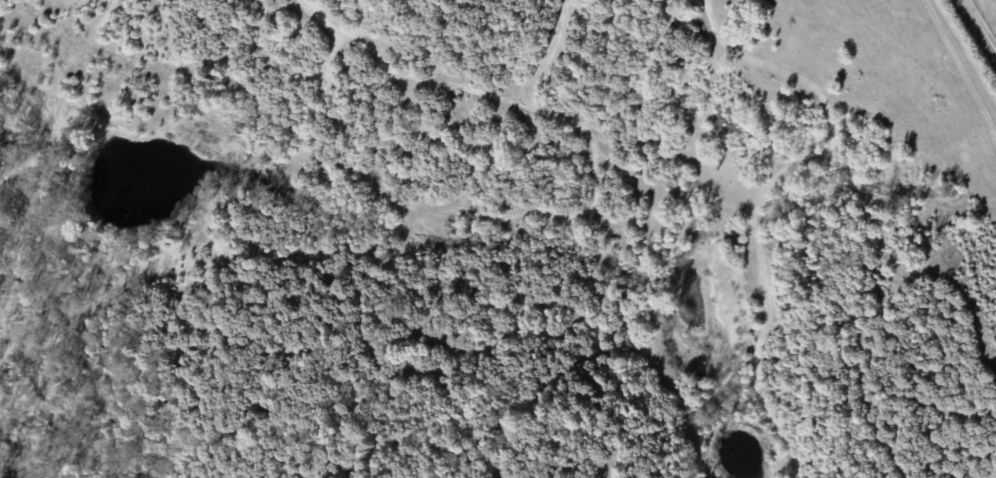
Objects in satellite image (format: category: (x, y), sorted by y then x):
road: (977, 32)

